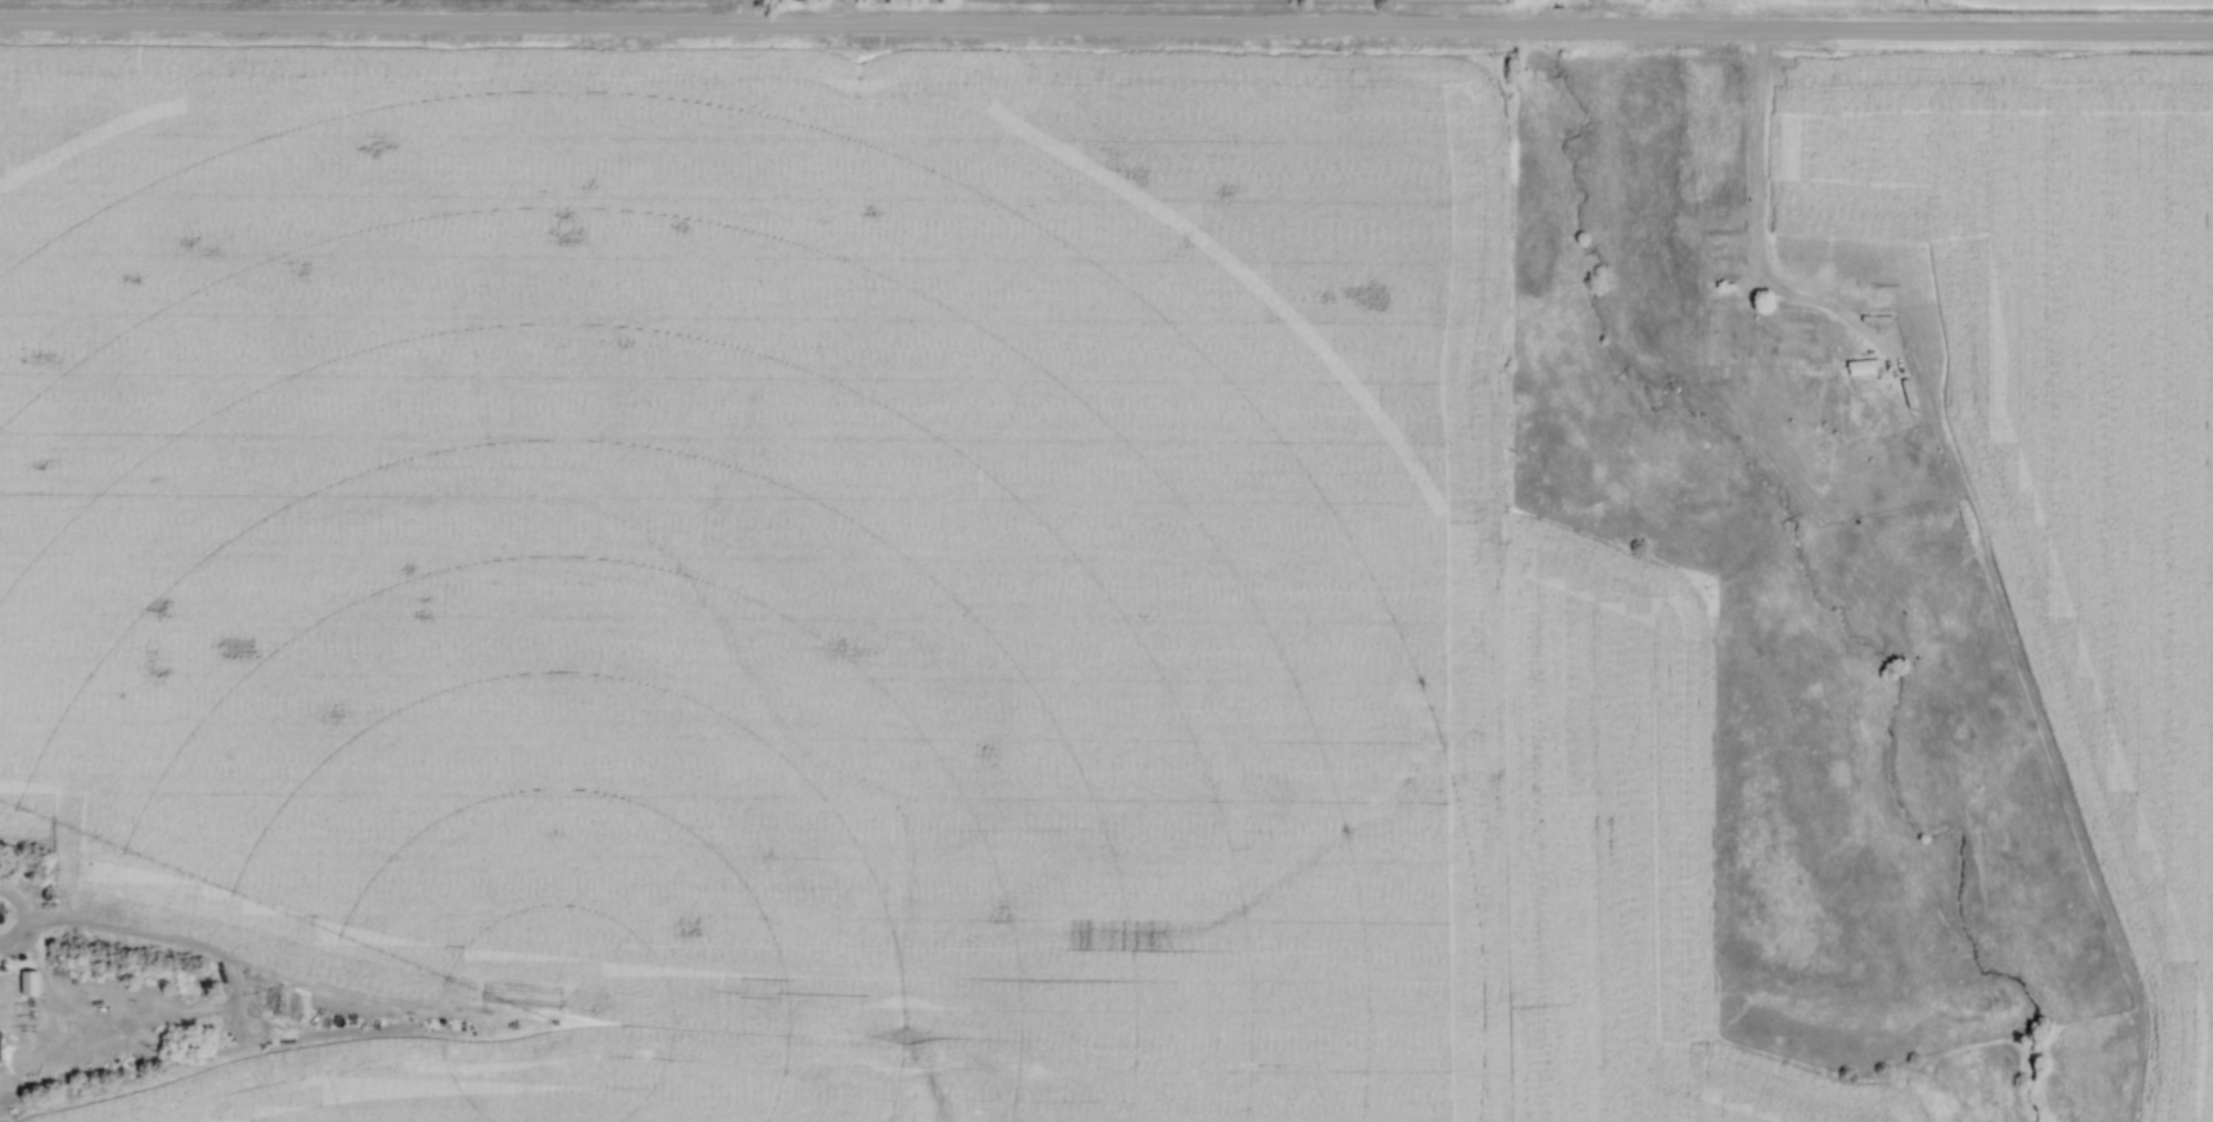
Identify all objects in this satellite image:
road: (847, 10)
road: (1106, 22)
building: (1862, 368)
building: (1, 913)
building: (28, 982)

